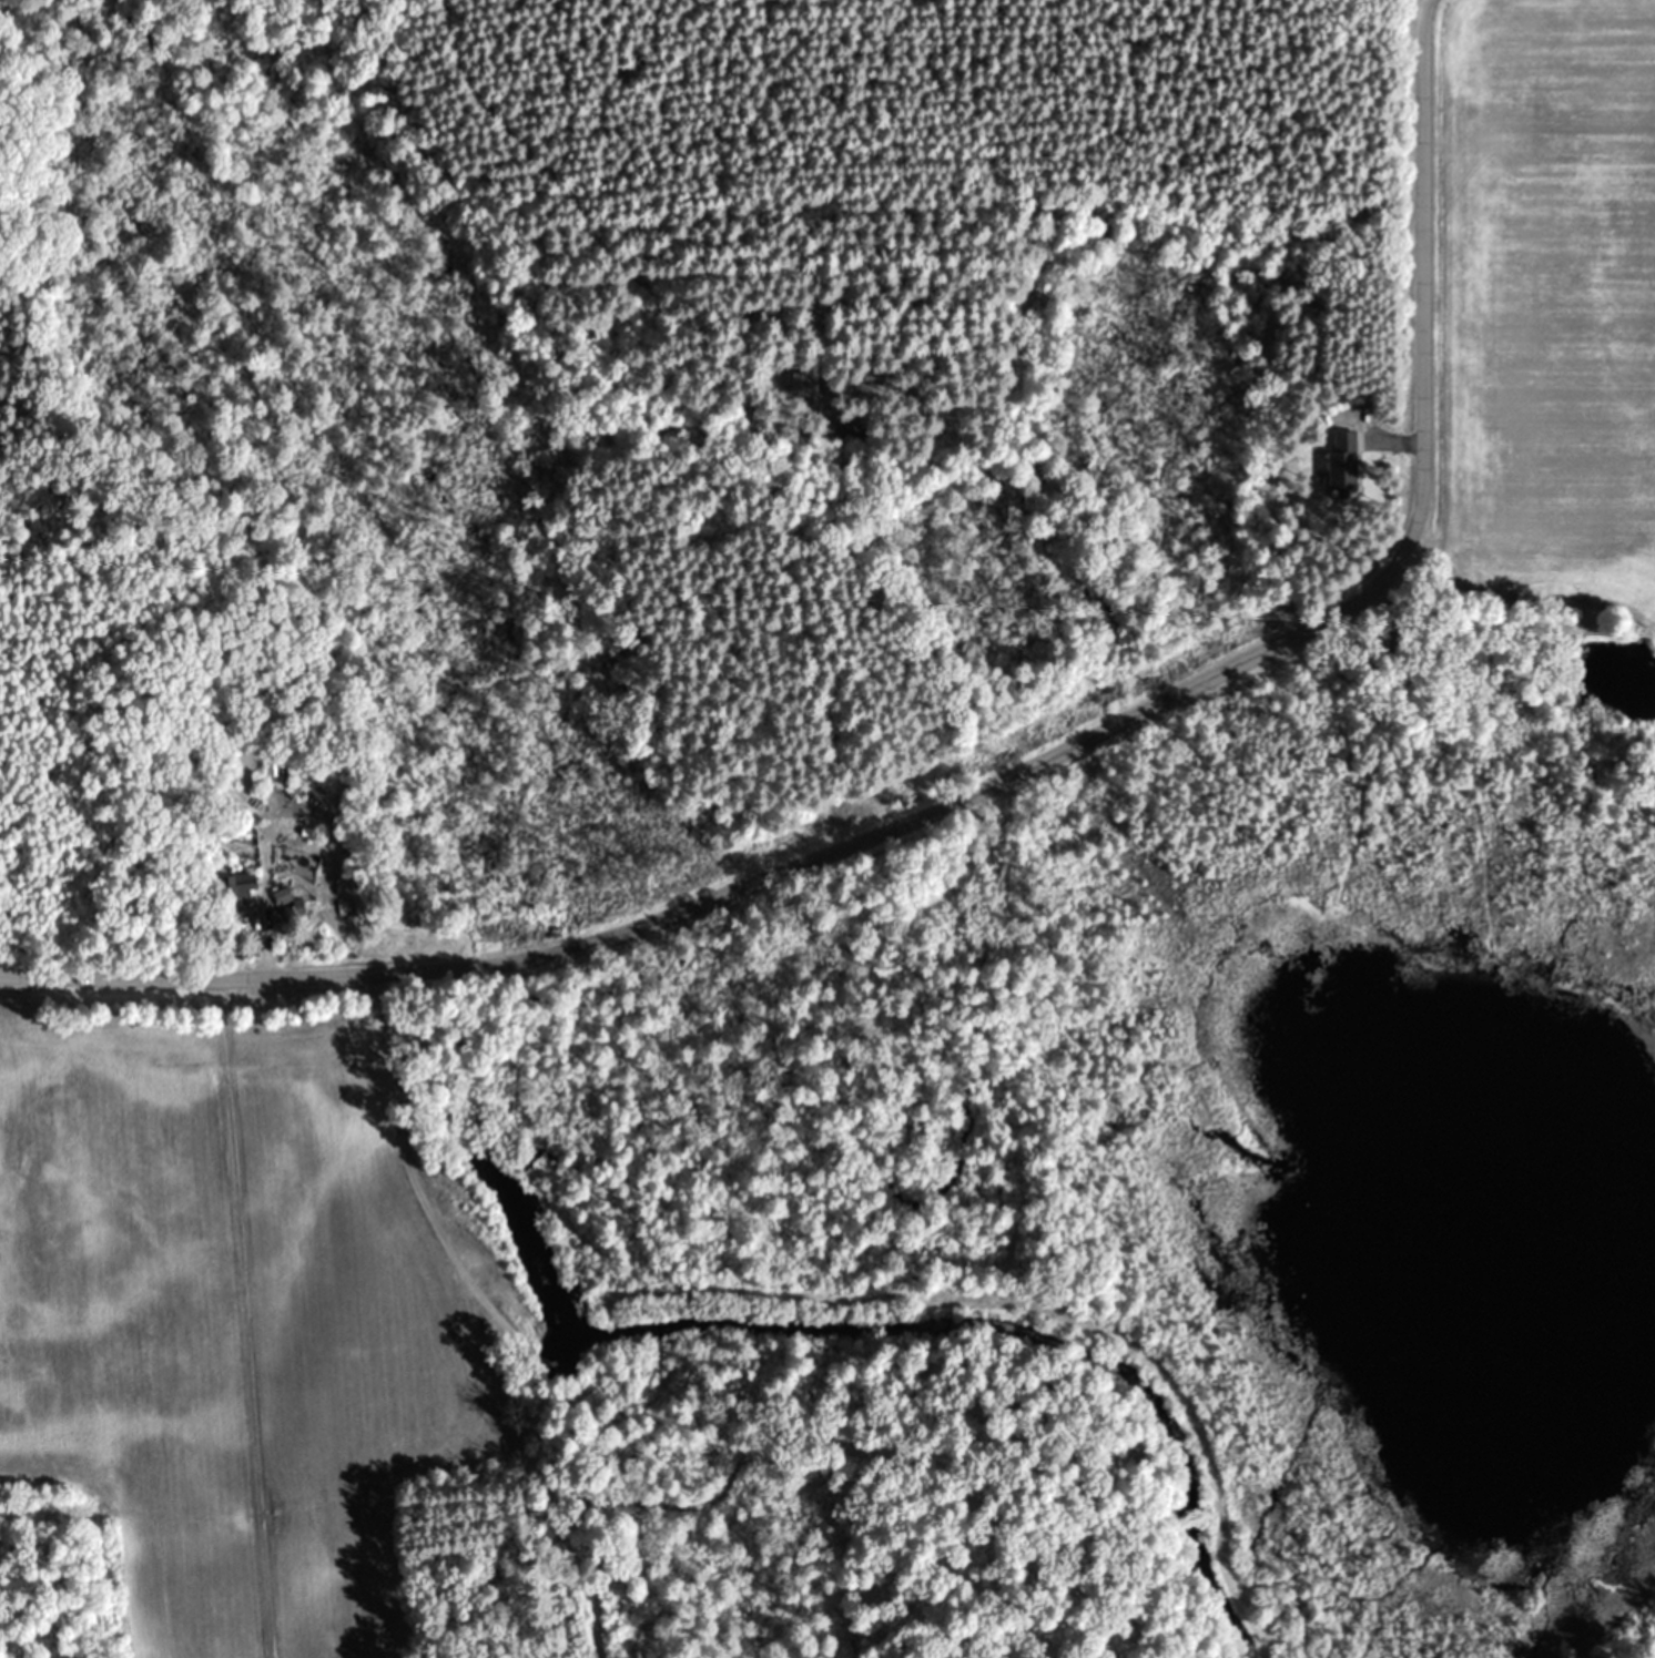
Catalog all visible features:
road: (591, 220)
building: (795, 383)
building: (850, 434)
building: (1344, 461)
road: (995, 780)
building: (243, 892)

